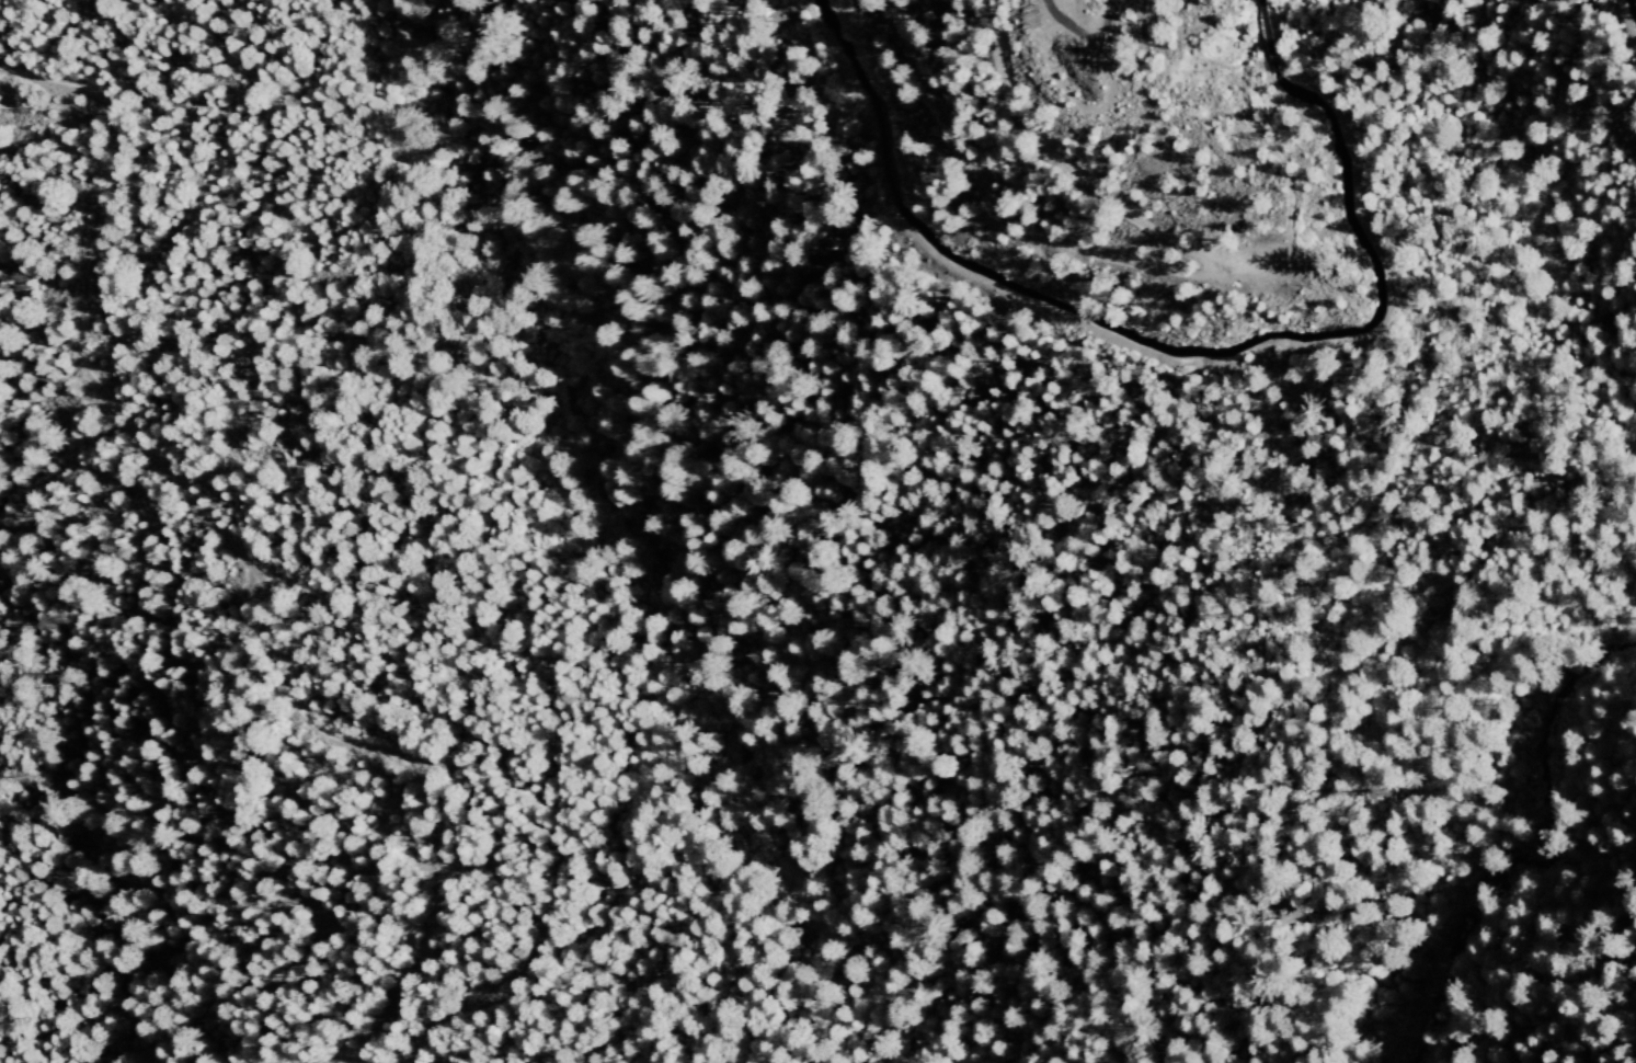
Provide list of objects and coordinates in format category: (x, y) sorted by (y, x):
road: (1076, 31)
road: (241, 559)

